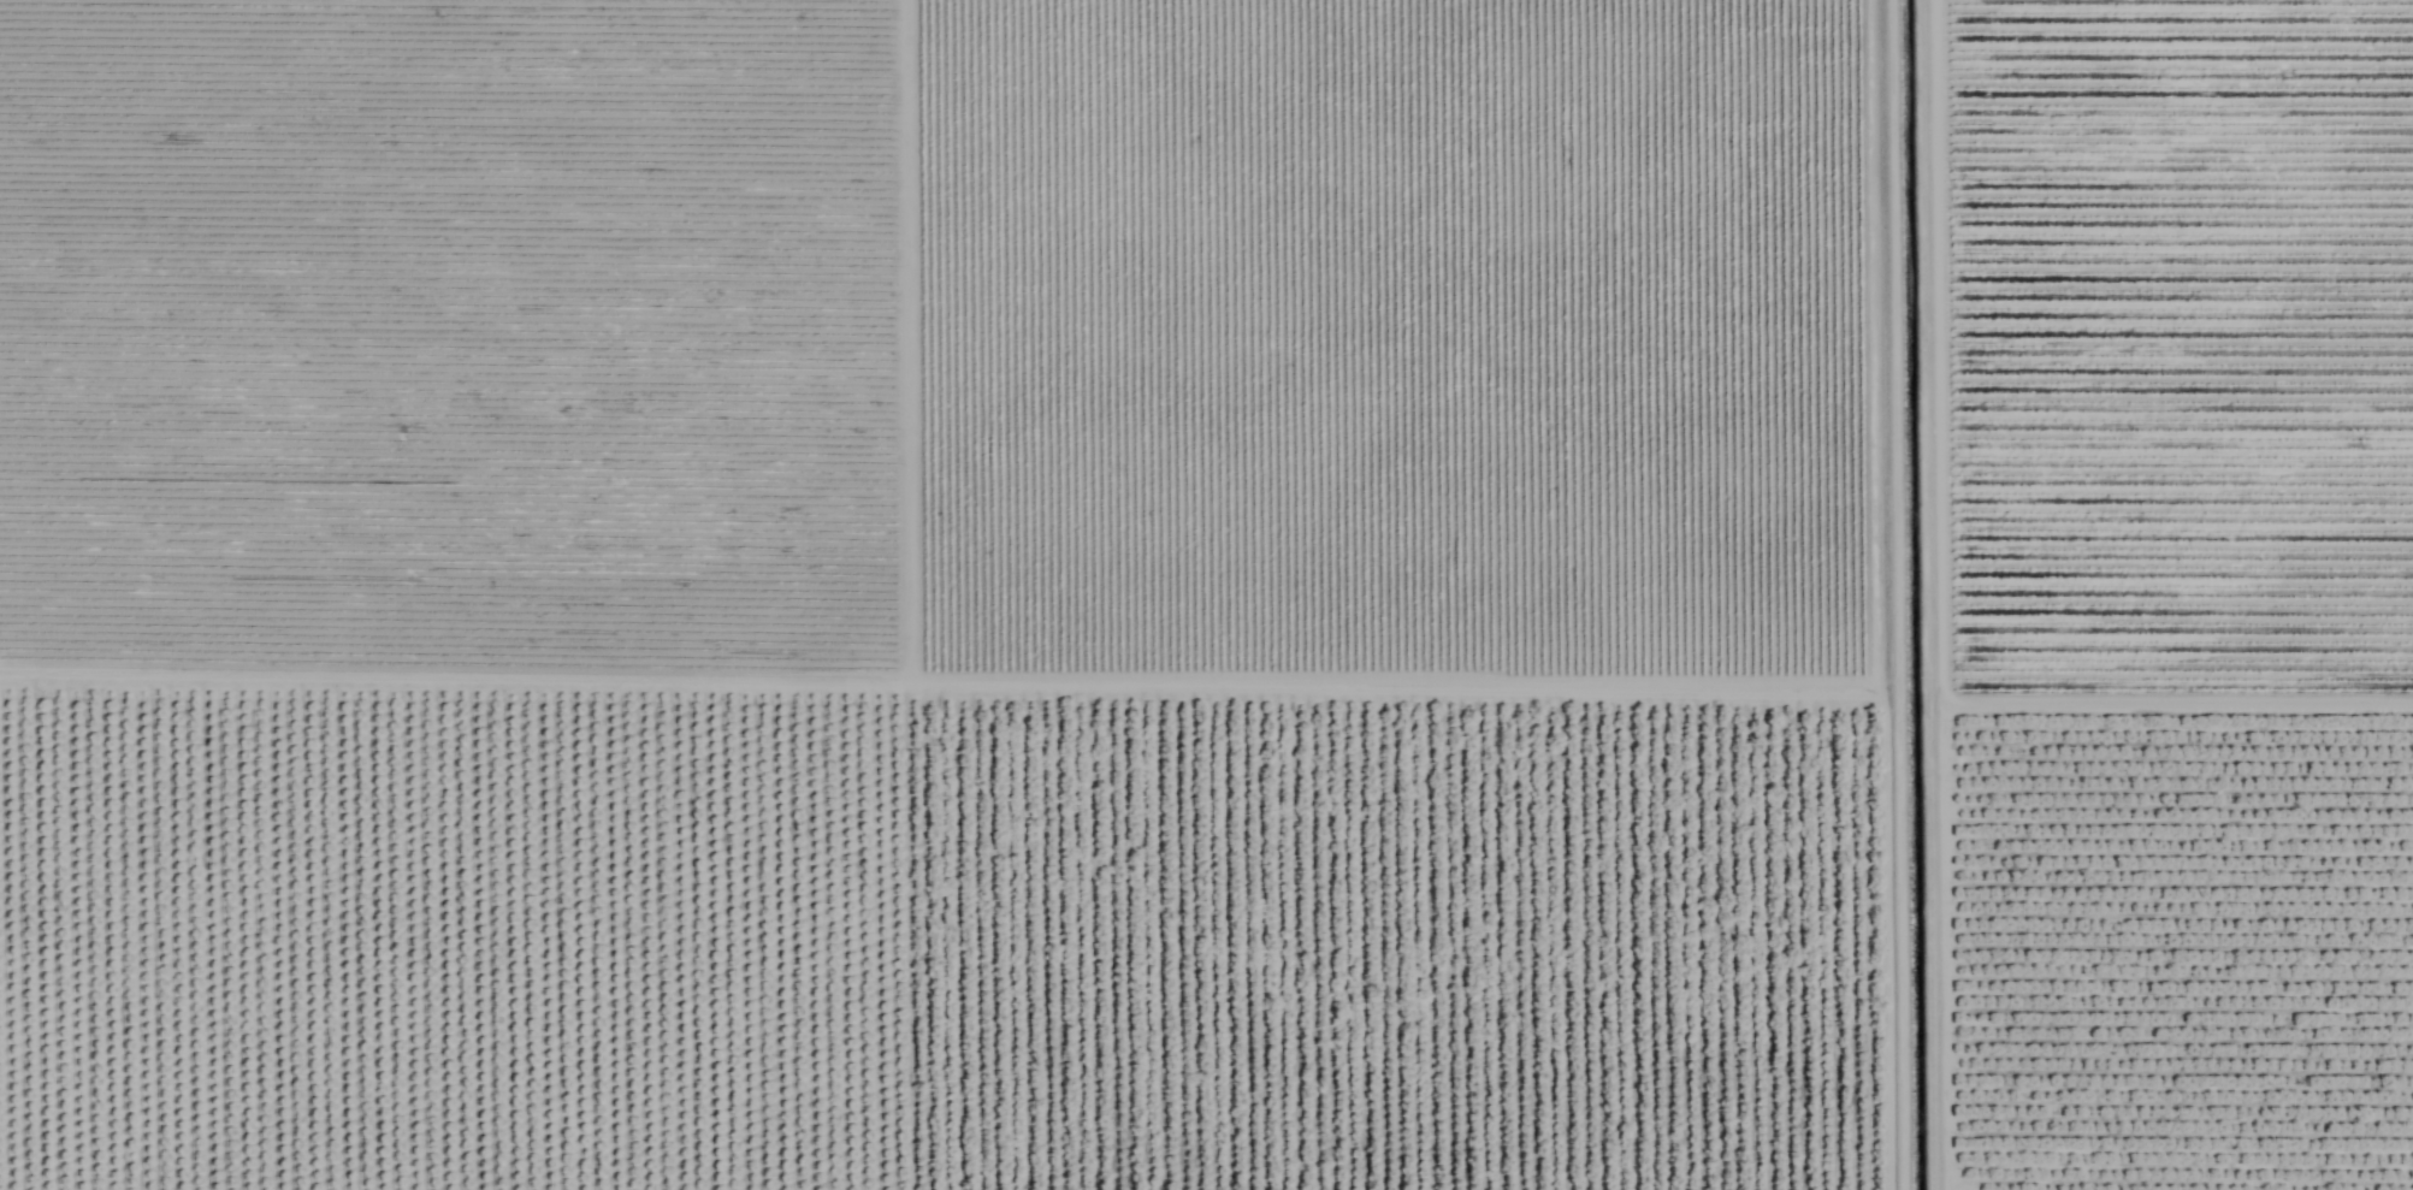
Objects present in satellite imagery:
road: (901, 343)
road: (451, 682)

